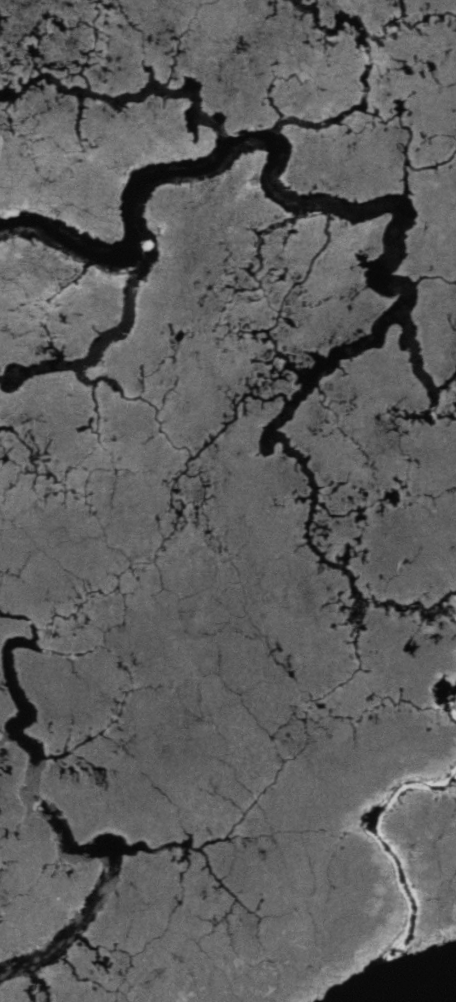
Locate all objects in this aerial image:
river: (443, 995)

